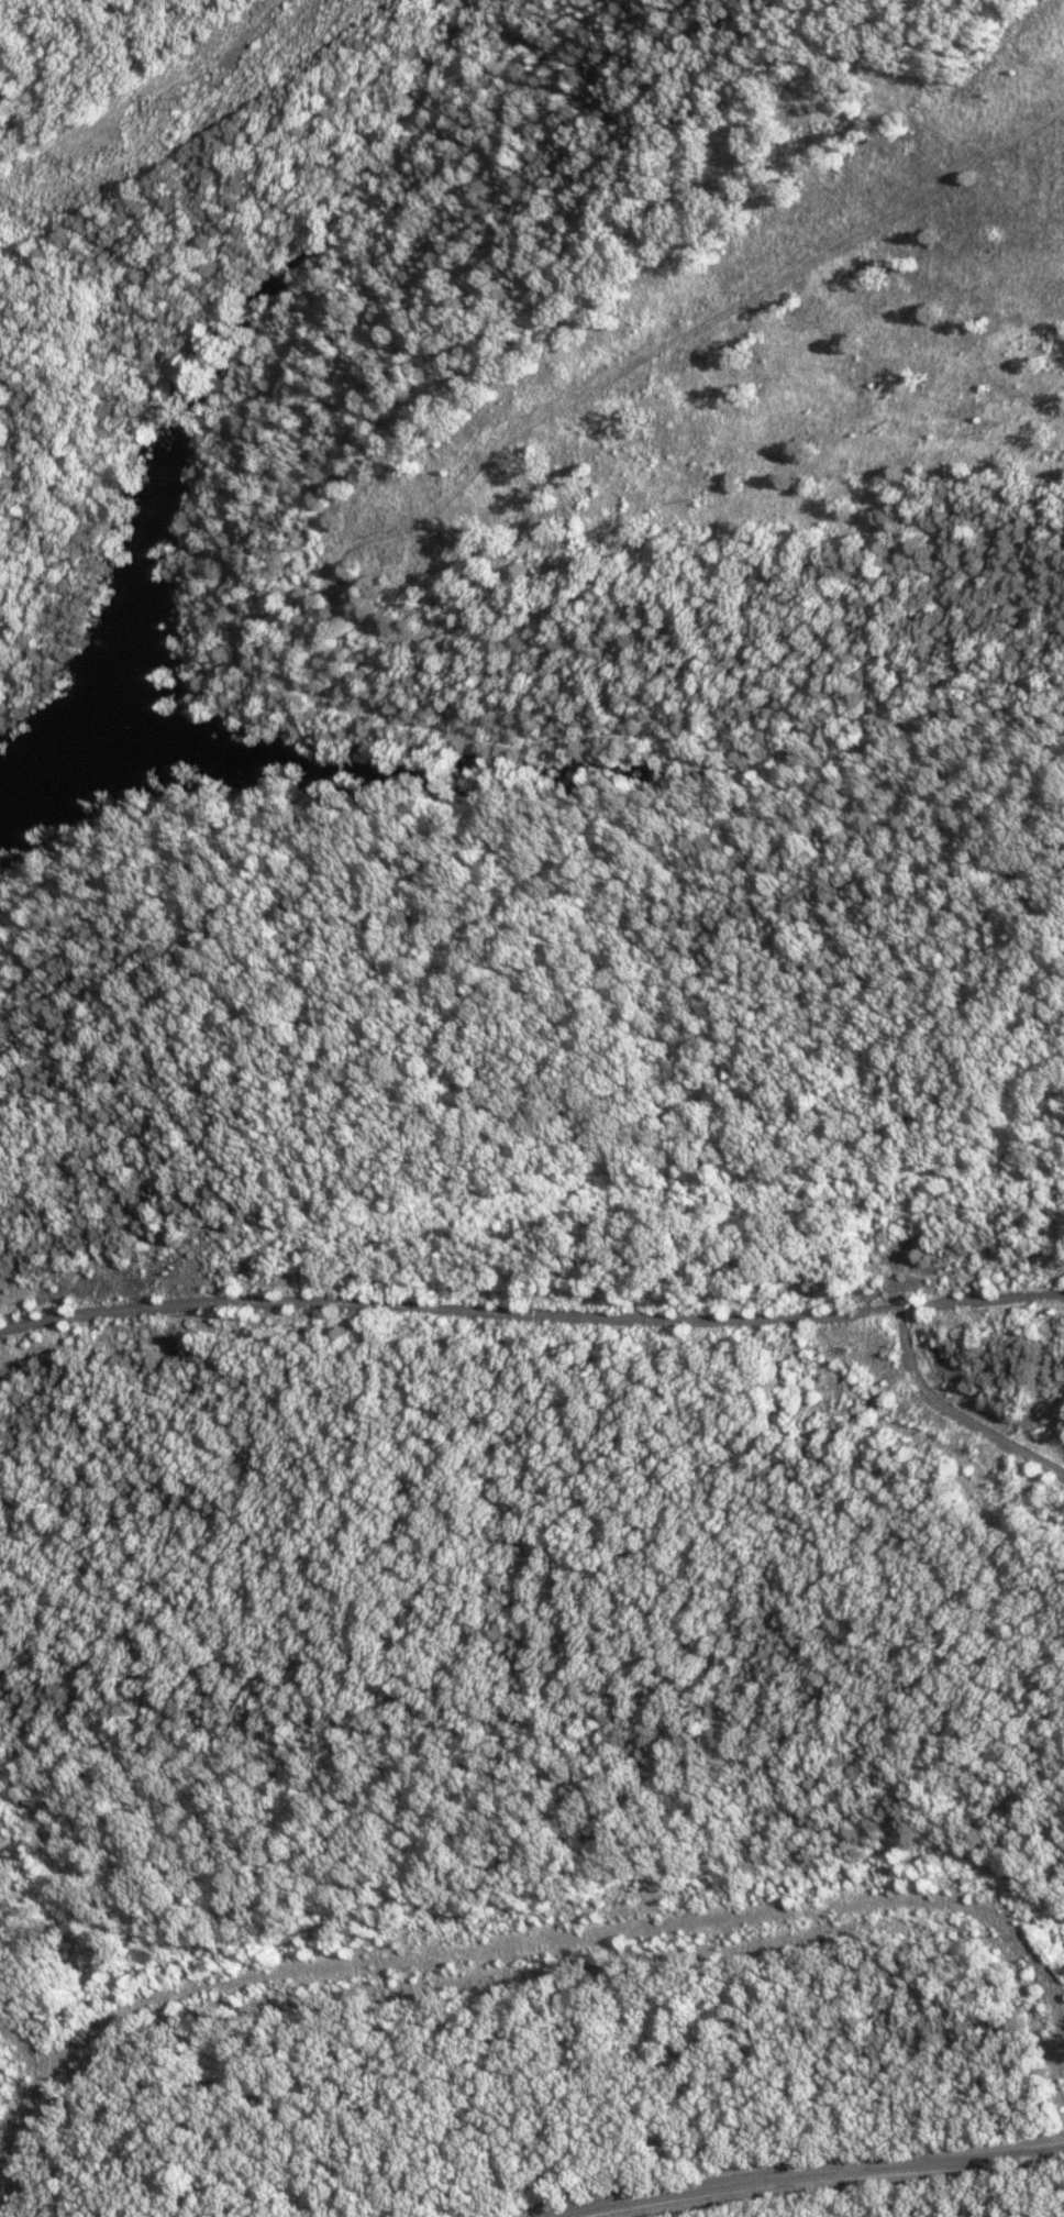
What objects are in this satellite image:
power tower: (180, 102)
road: (954, 1413)
road: (807, 2172)

